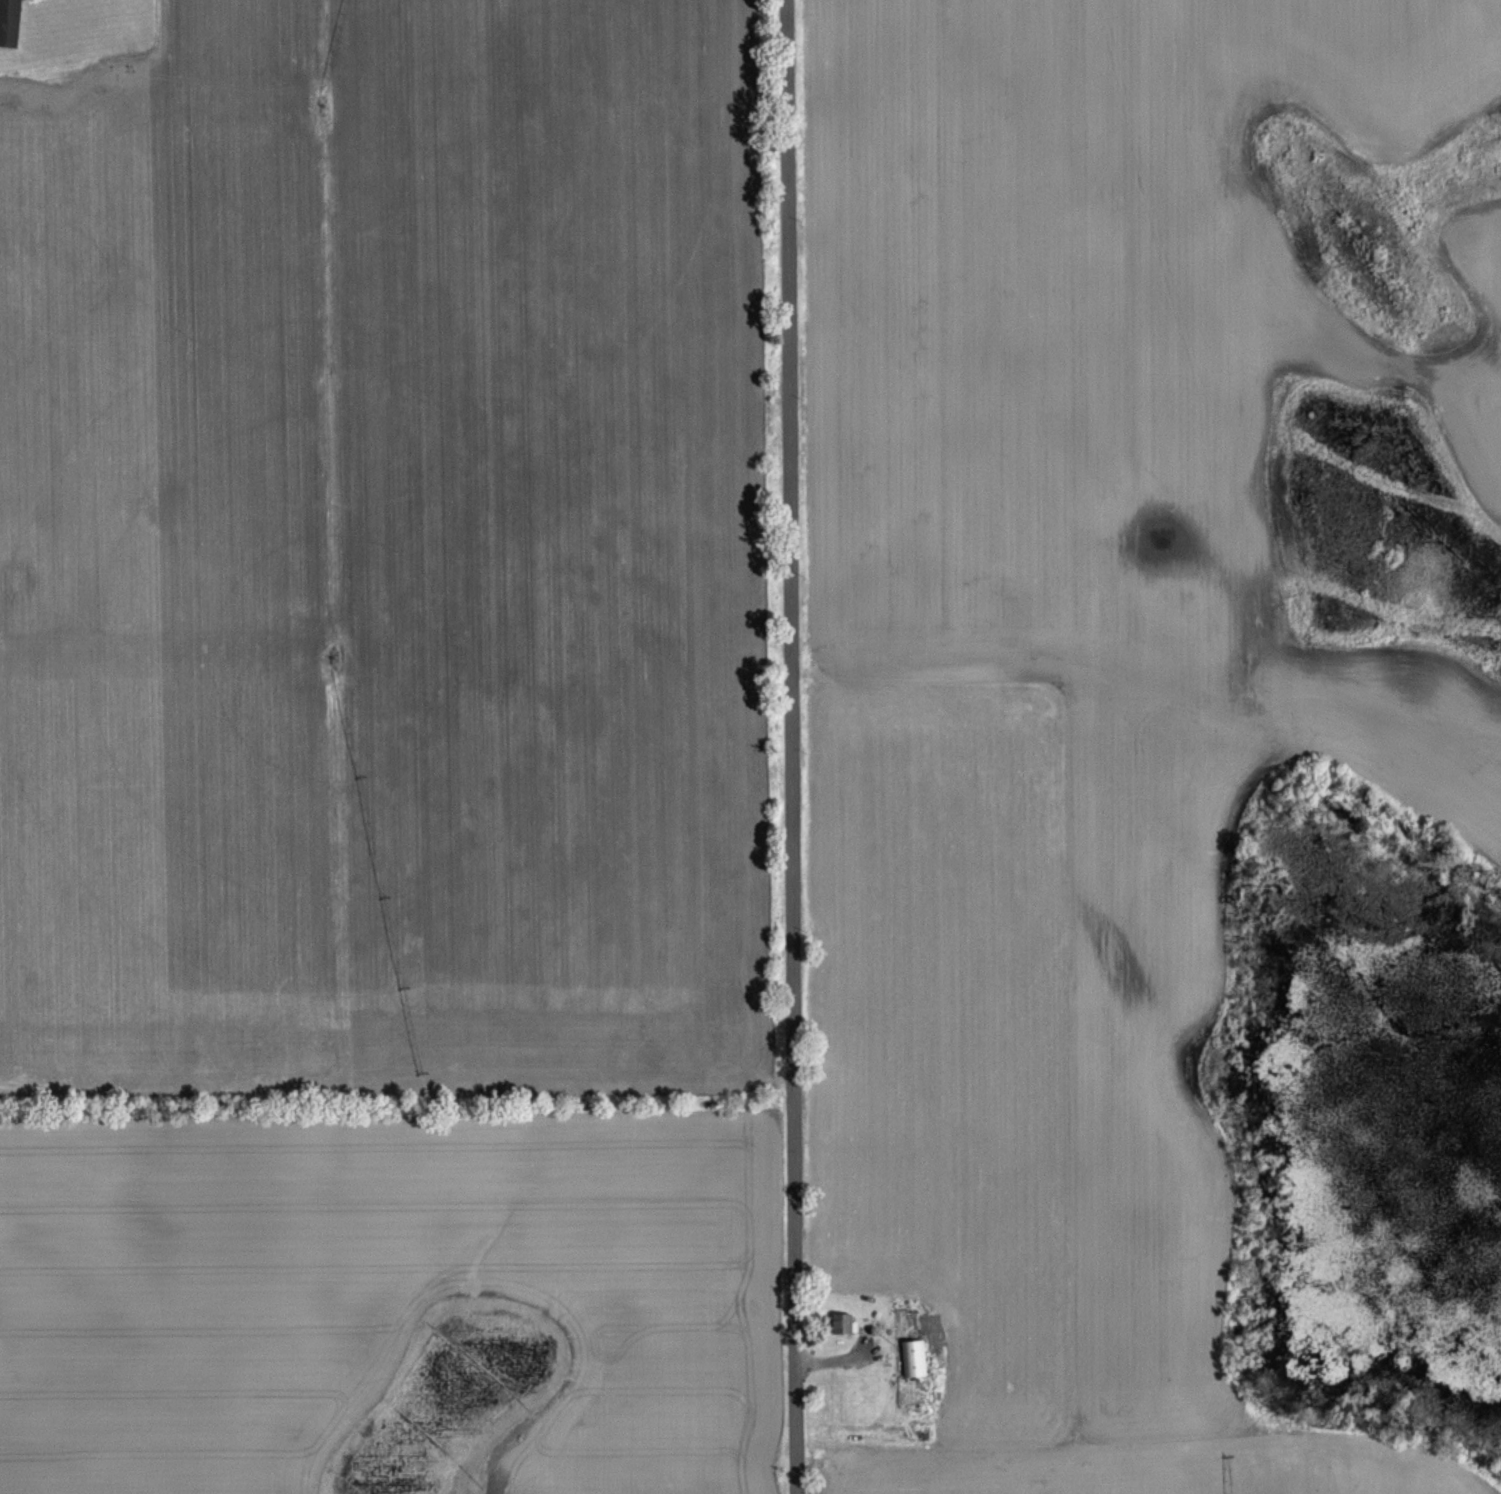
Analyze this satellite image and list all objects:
building: (10, 23)
road: (782, 747)
building: (841, 1324)
building: (904, 1360)

